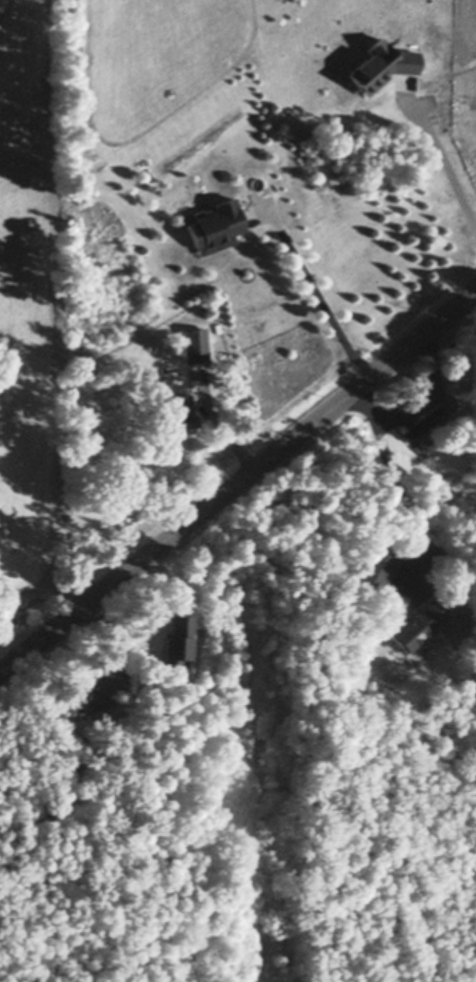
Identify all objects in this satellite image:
building: (383, 67)
road: (443, 166)
building: (218, 228)
road: (311, 286)
building: (197, 346)
building: (450, 402)
building: (180, 415)
road: (214, 419)
building: (421, 423)
building: (427, 442)
road: (237, 470)
road: (413, 524)
building: (449, 628)
building: (418, 630)
building: (179, 646)
building: (96, 688)

